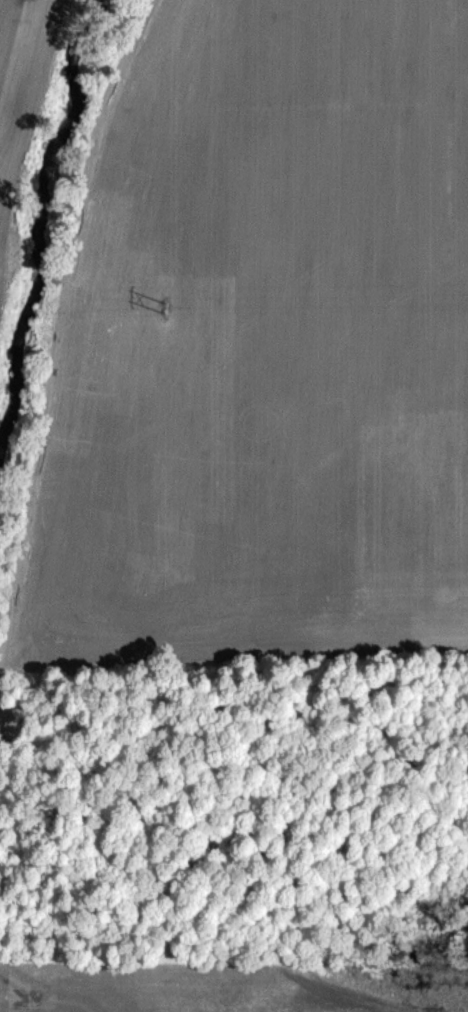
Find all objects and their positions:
road: (61, 320)

